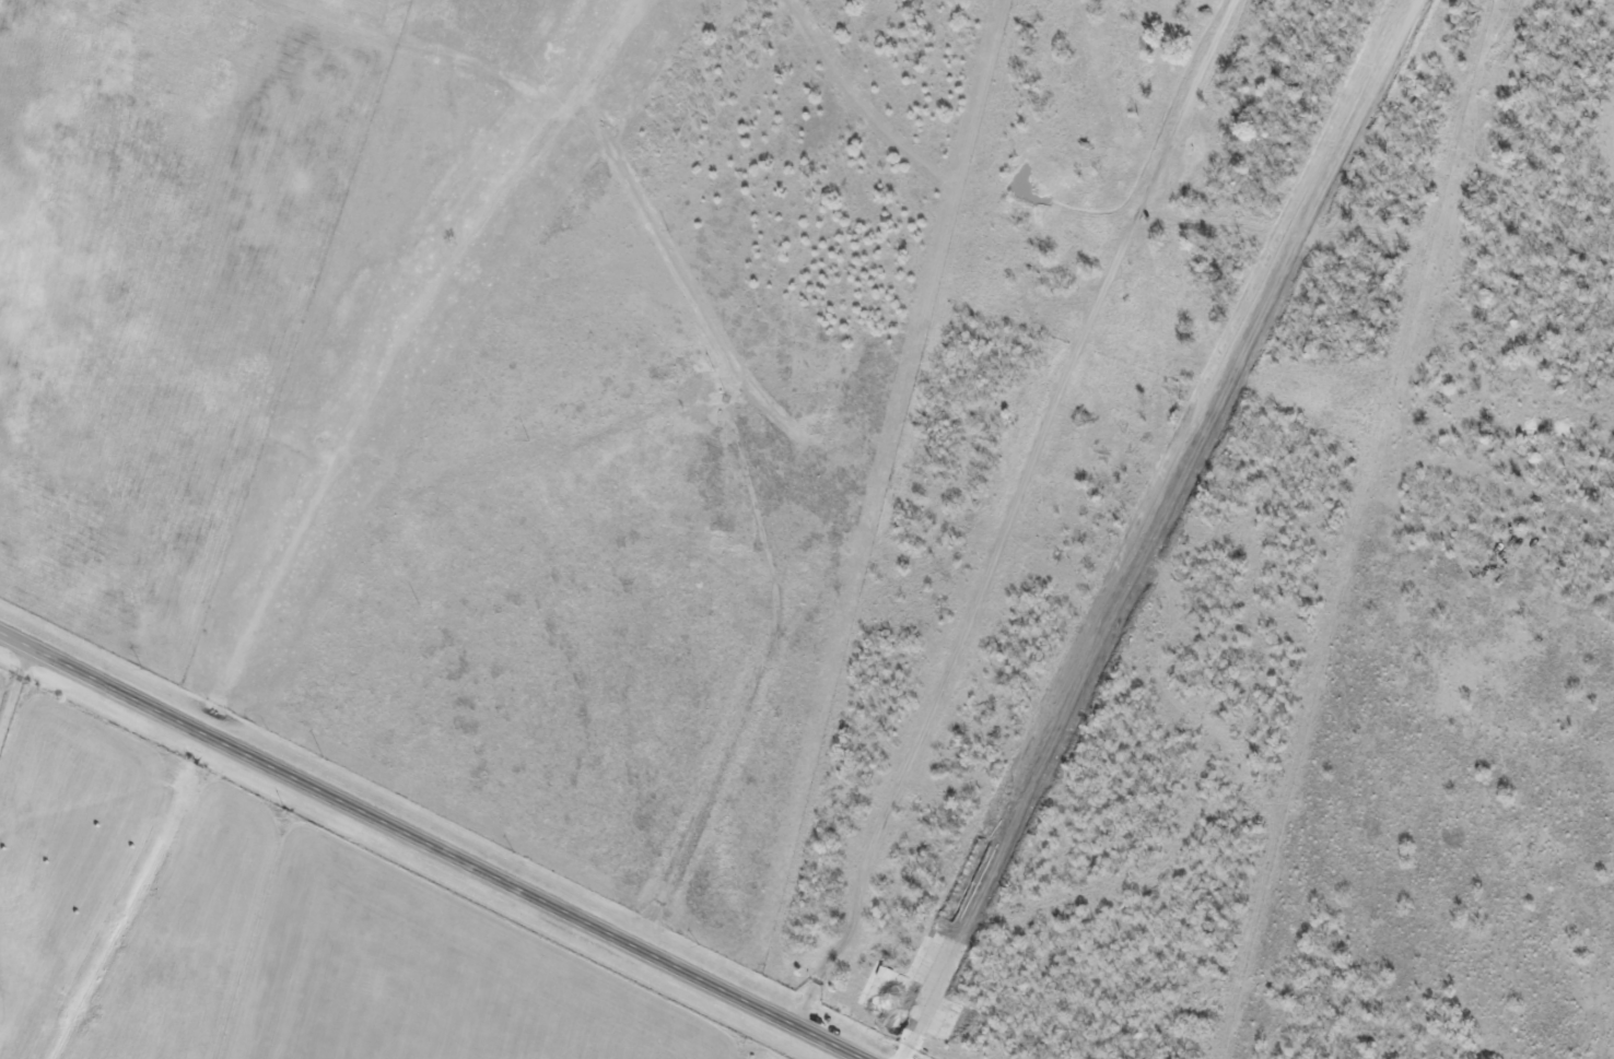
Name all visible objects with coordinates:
road: (434, 845)

